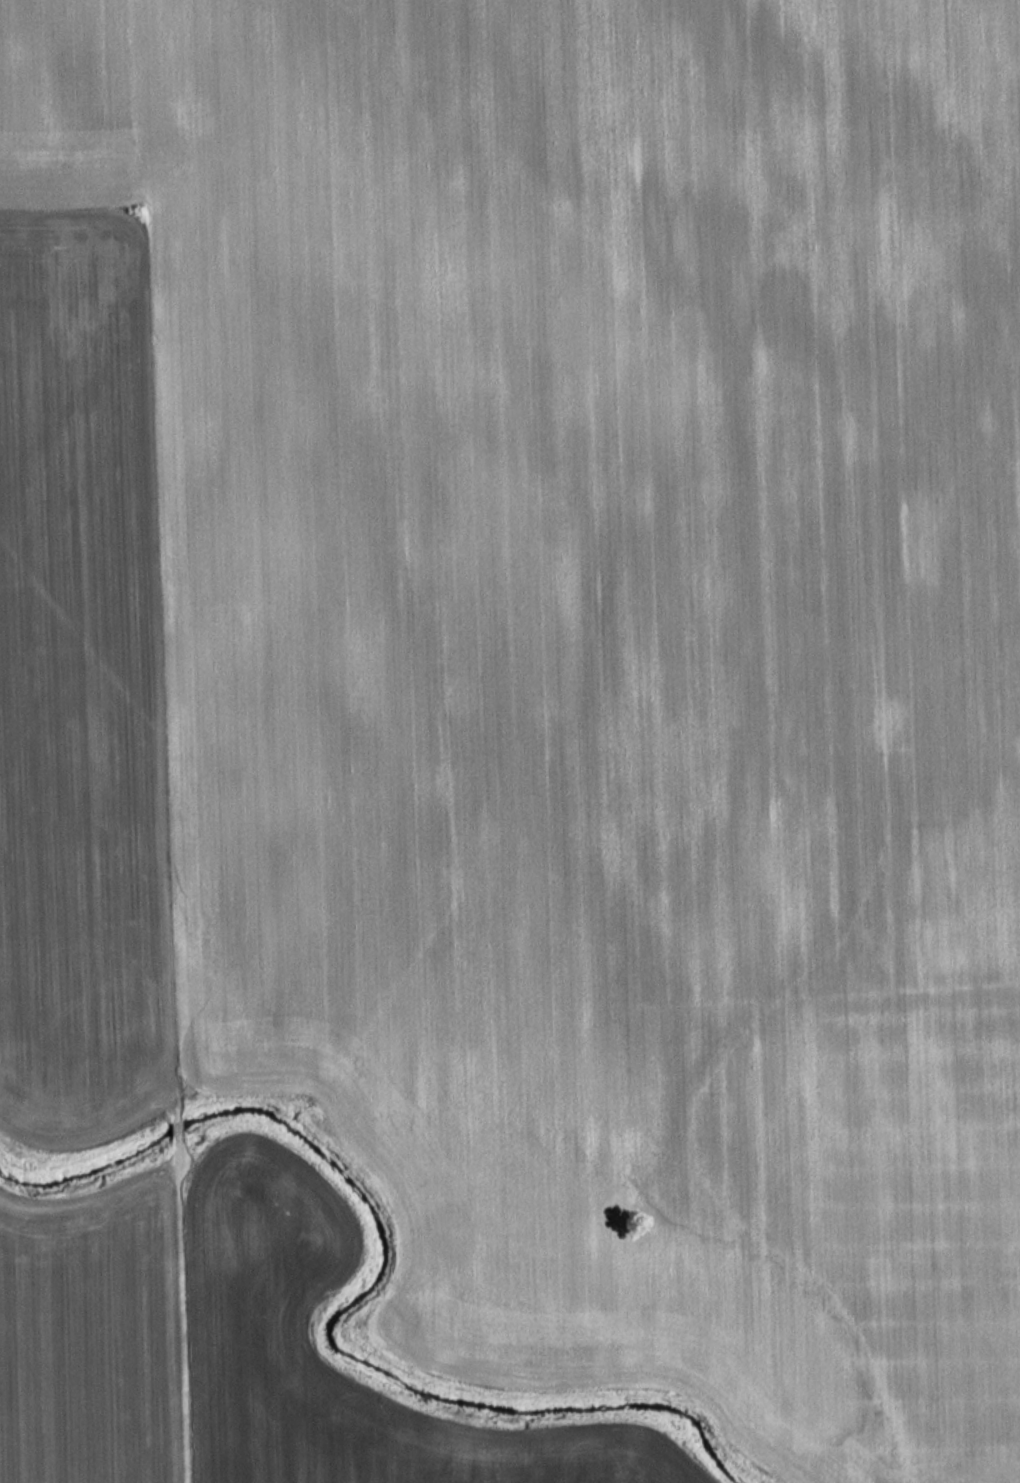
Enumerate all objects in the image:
crop: (605, 662)
crop: (84, 668)
crop: (94, 1333)
crop: (245, 1333)

